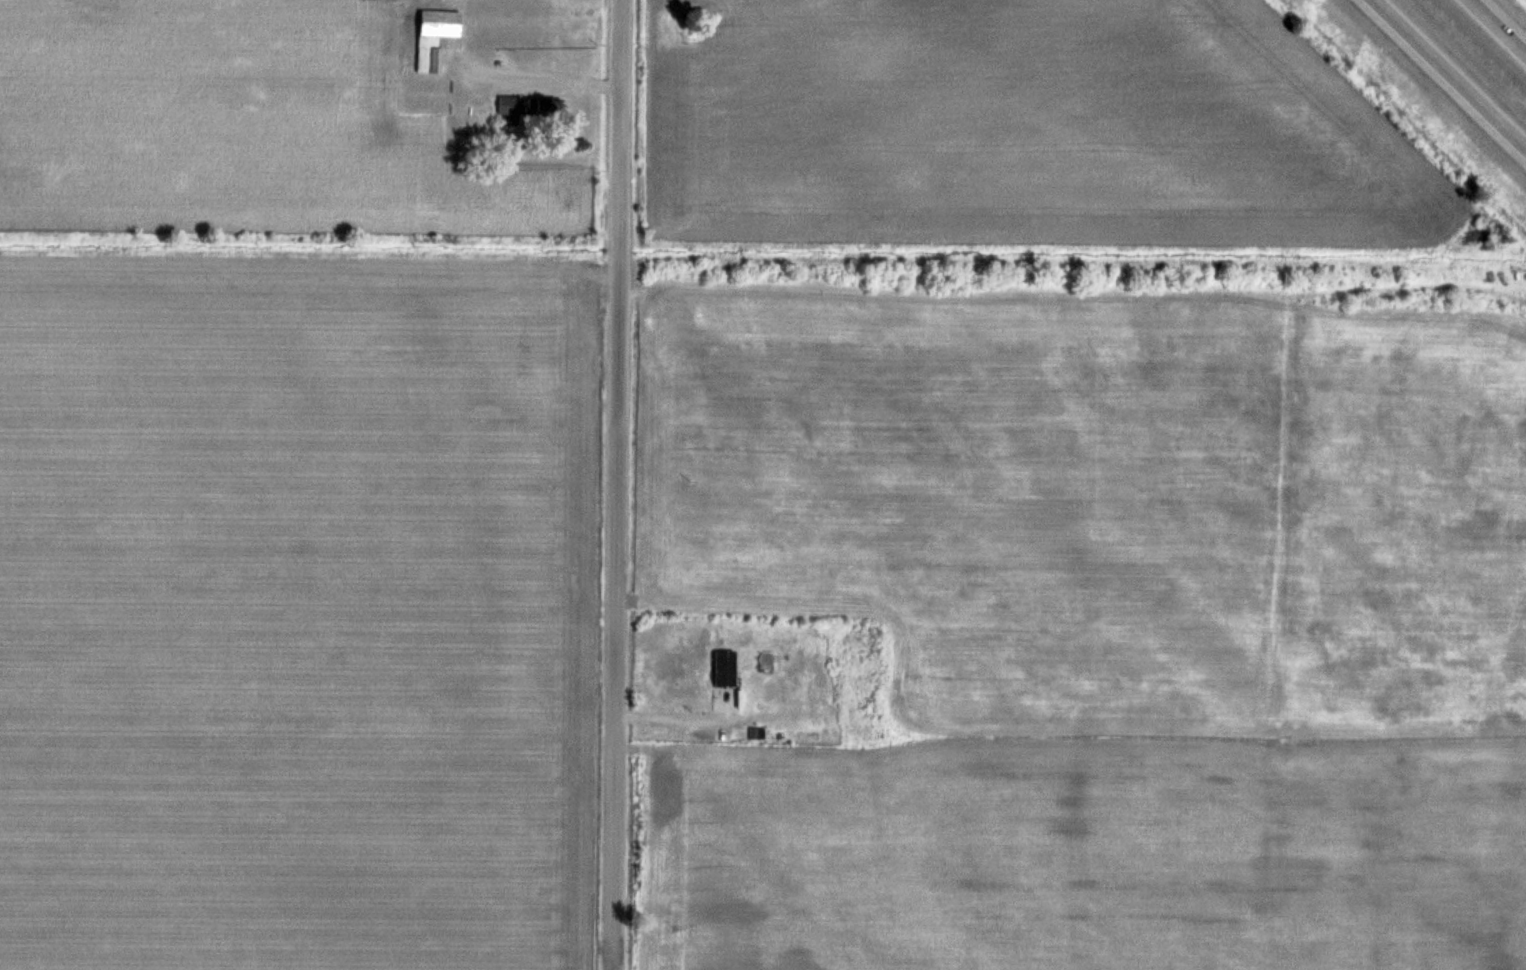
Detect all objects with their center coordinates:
road: (1498, 26)
building: (436, 36)
road: (1449, 72)
building: (511, 104)
building: (549, 106)
road: (619, 484)
building: (726, 668)

